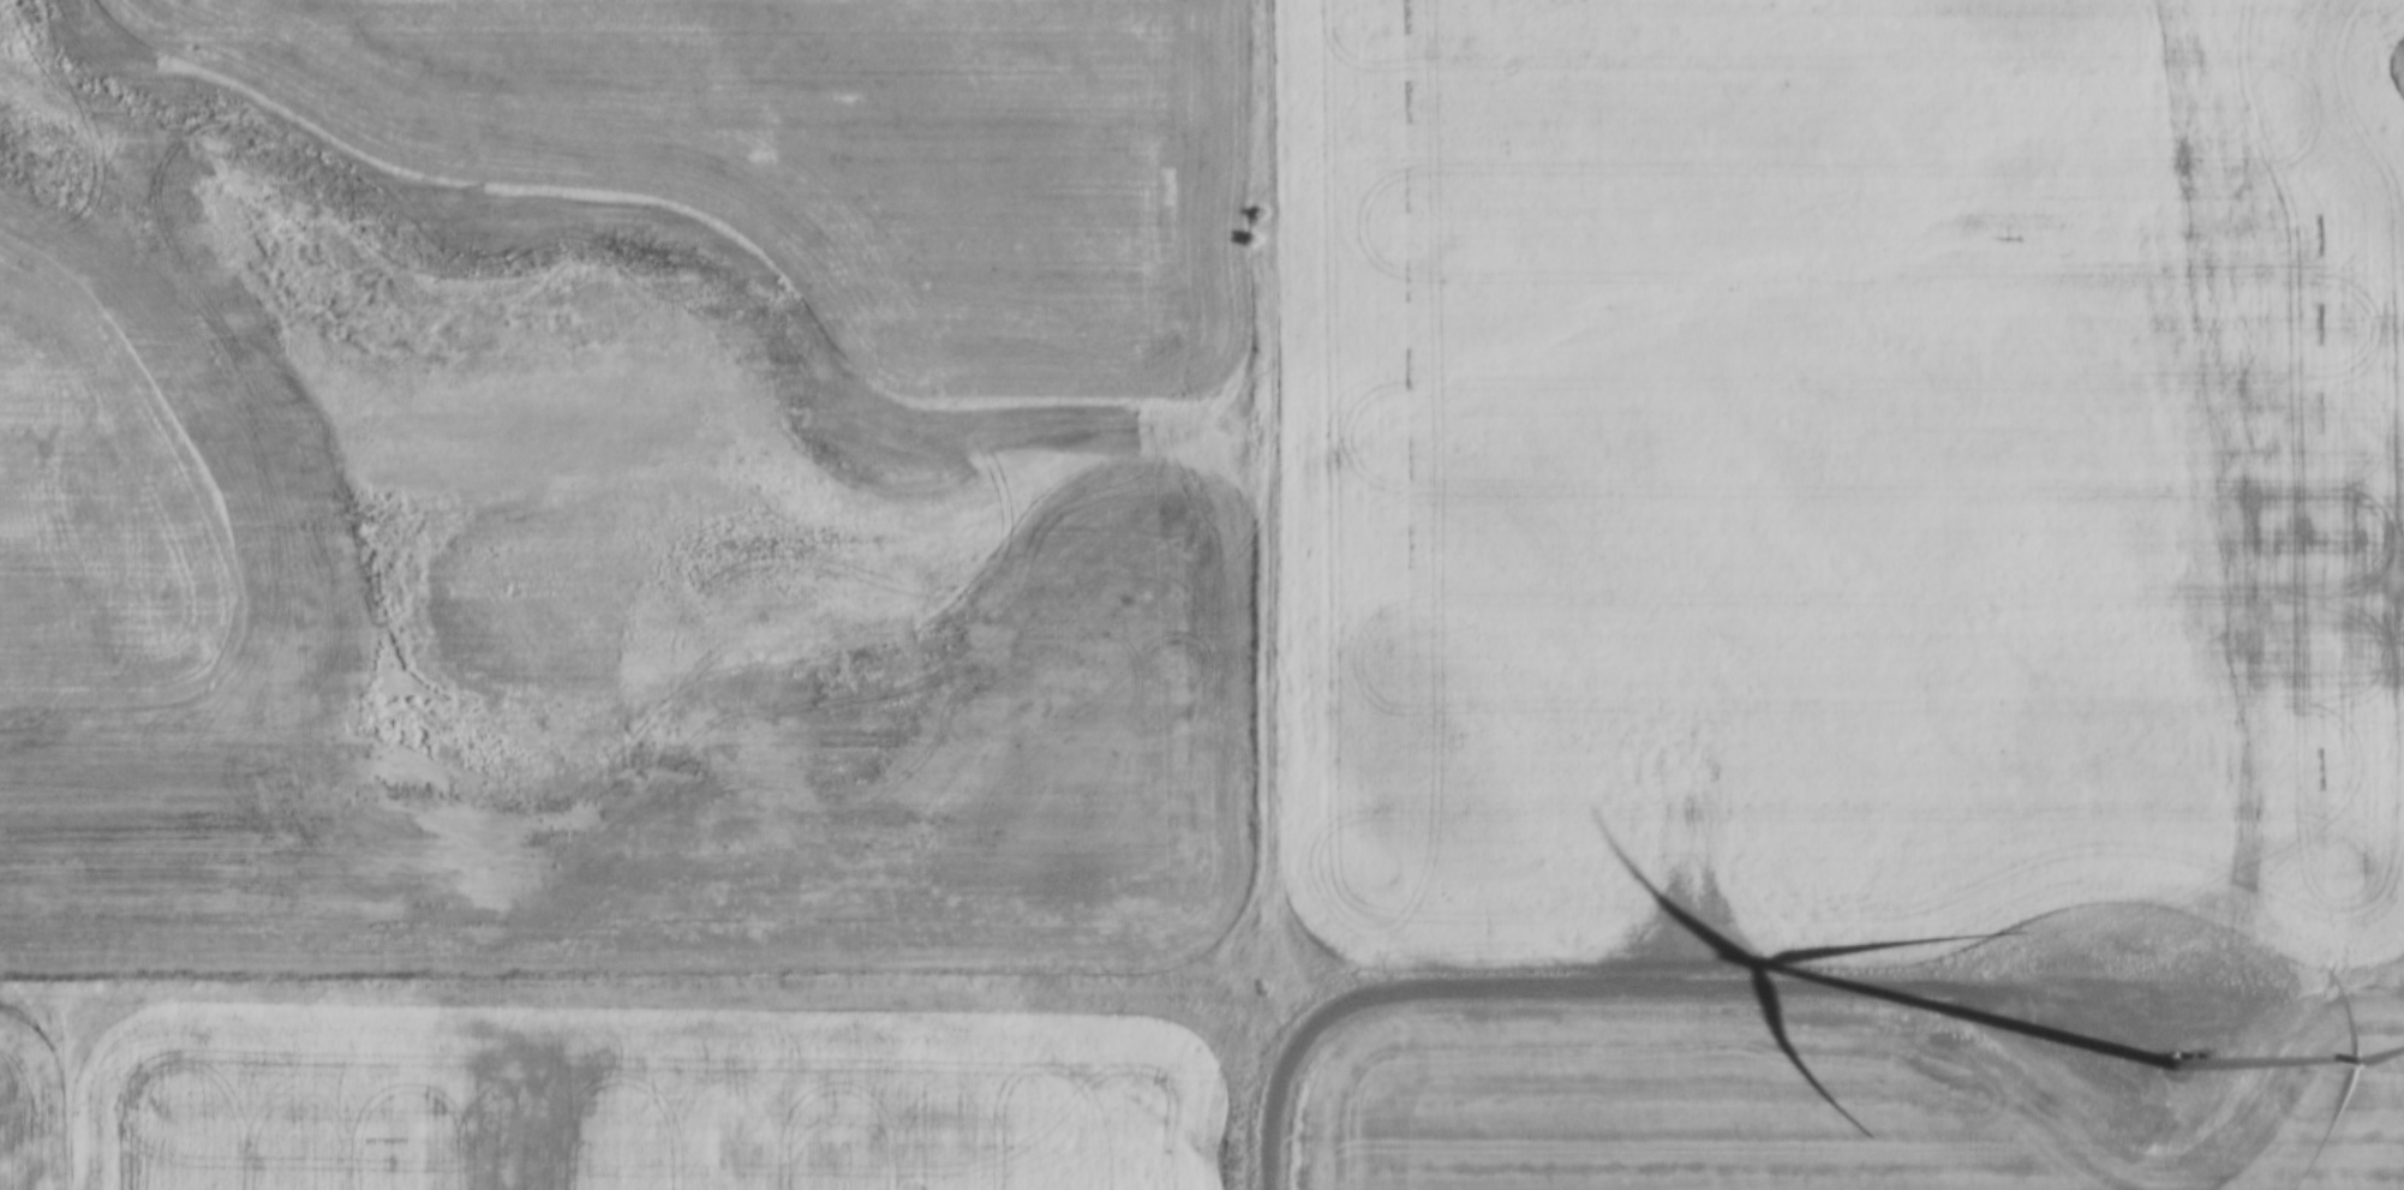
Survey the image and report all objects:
wind turbine: (2163, 1064)

